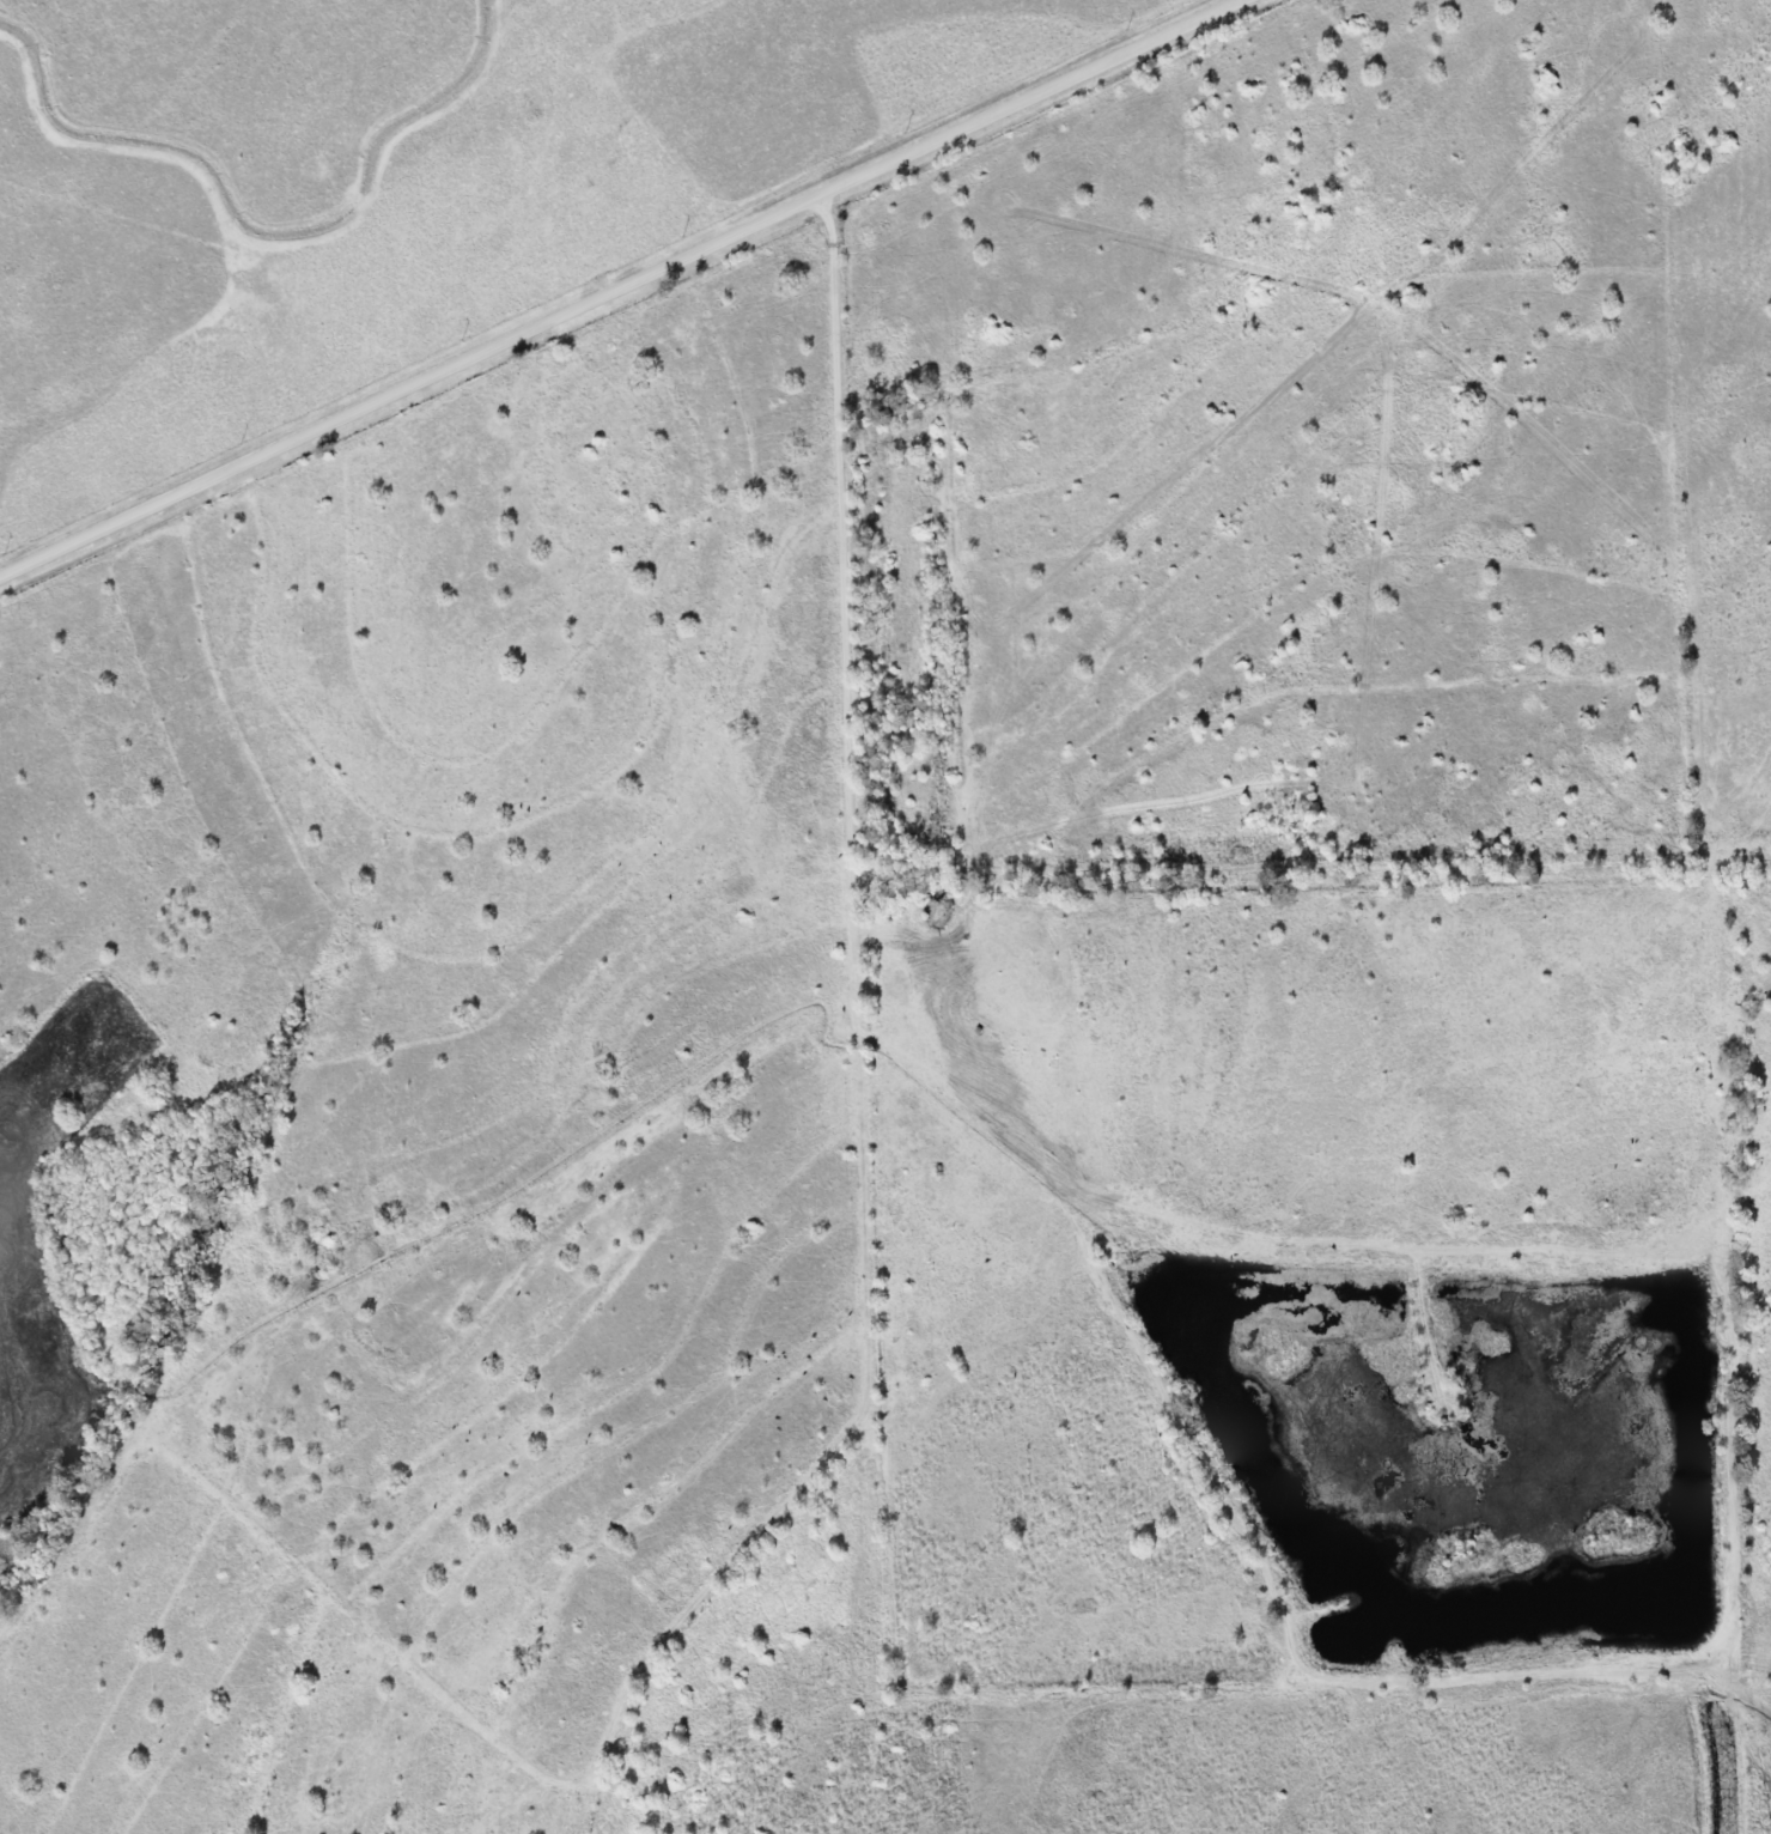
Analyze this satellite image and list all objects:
road: (611, 285)

